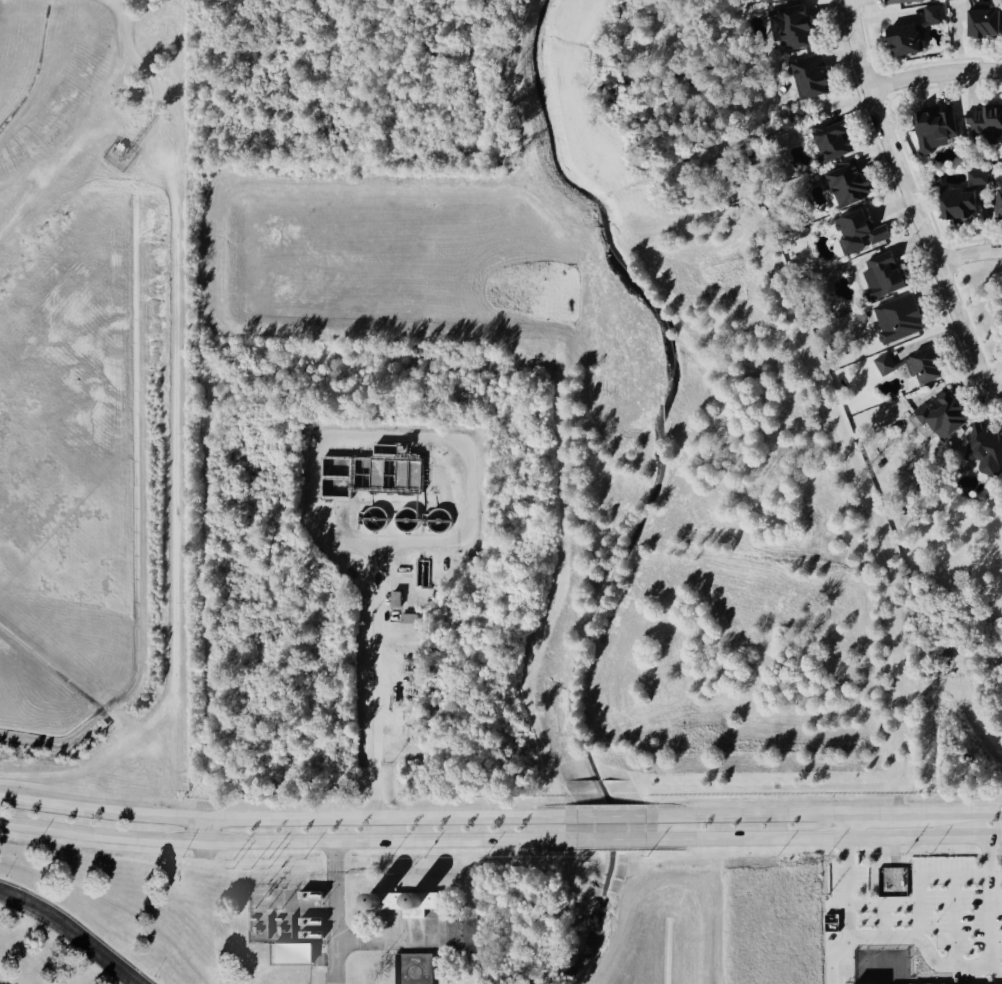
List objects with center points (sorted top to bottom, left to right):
building: (950, 0)
building: (904, 1)
building: (935, 15)
building: (987, 23)
building: (800, 27)
building: (910, 40)
road: (934, 73)
building: (813, 77)
building: (987, 122)
building: (939, 129)
road: (883, 132)
building: (837, 141)
building: (979, 178)
building: (852, 183)
building: (964, 205)
building: (1001, 206)
building: (862, 232)
road: (968, 256)
building: (887, 277)
building: (902, 318)
road: (962, 329)
building: (917, 365)
building: (948, 415)
building: (987, 449)
road: (309, 484)
building: (397, 600)
building: (411, 619)
road: (964, 816)
road: (607, 817)
road: (744, 817)
road: (886, 817)
road: (285, 820)
road: (204, 832)
road: (822, 838)
road: (608, 840)
road: (286, 843)
road: (983, 855)
road: (892, 861)
building: (404, 904)
road: (298, 906)
road: (30, 907)
road: (918, 910)
road: (336, 913)
building: (467, 935)
road: (355, 943)
road: (93, 954)
building: (294, 954)
road: (947, 961)

